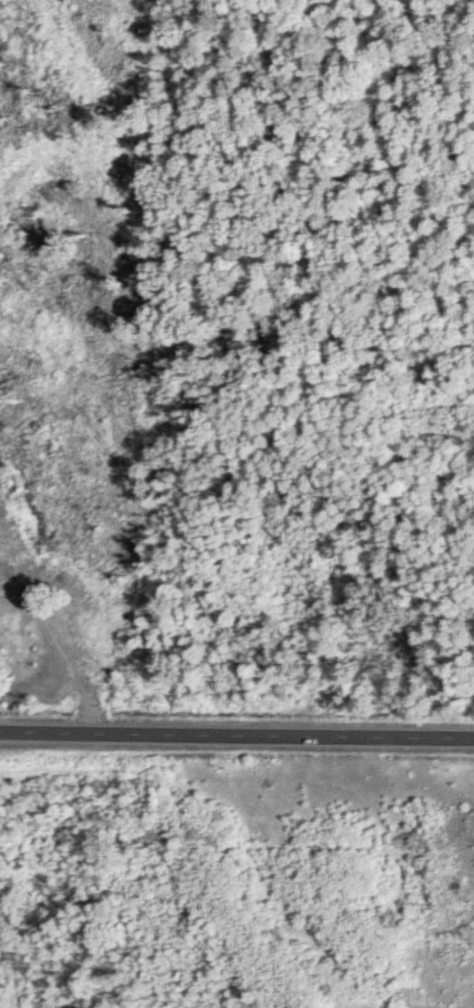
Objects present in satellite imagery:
road: (237, 734)

